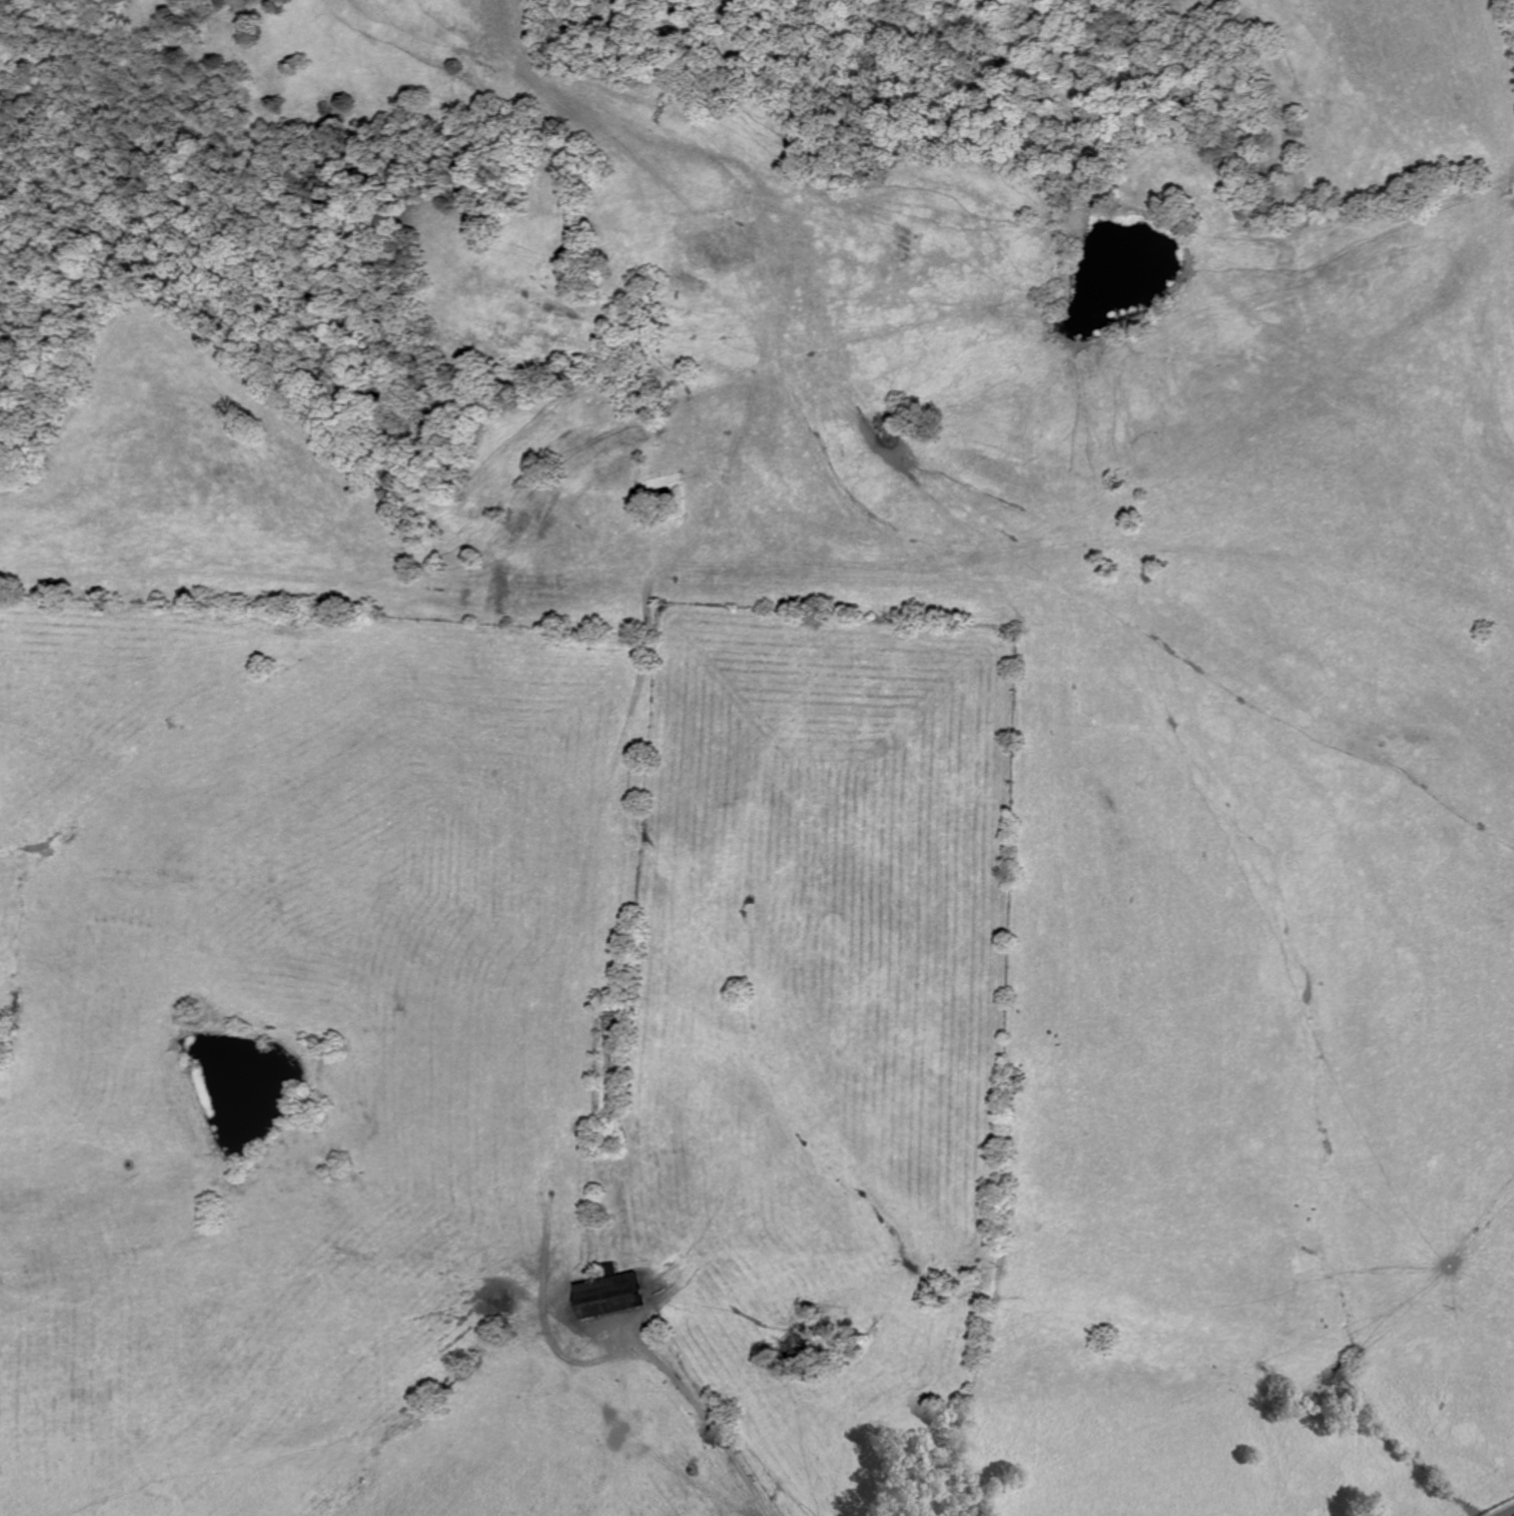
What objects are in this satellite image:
building: (621, 1295)
road: (661, 1362)
road: (1509, 1513)

